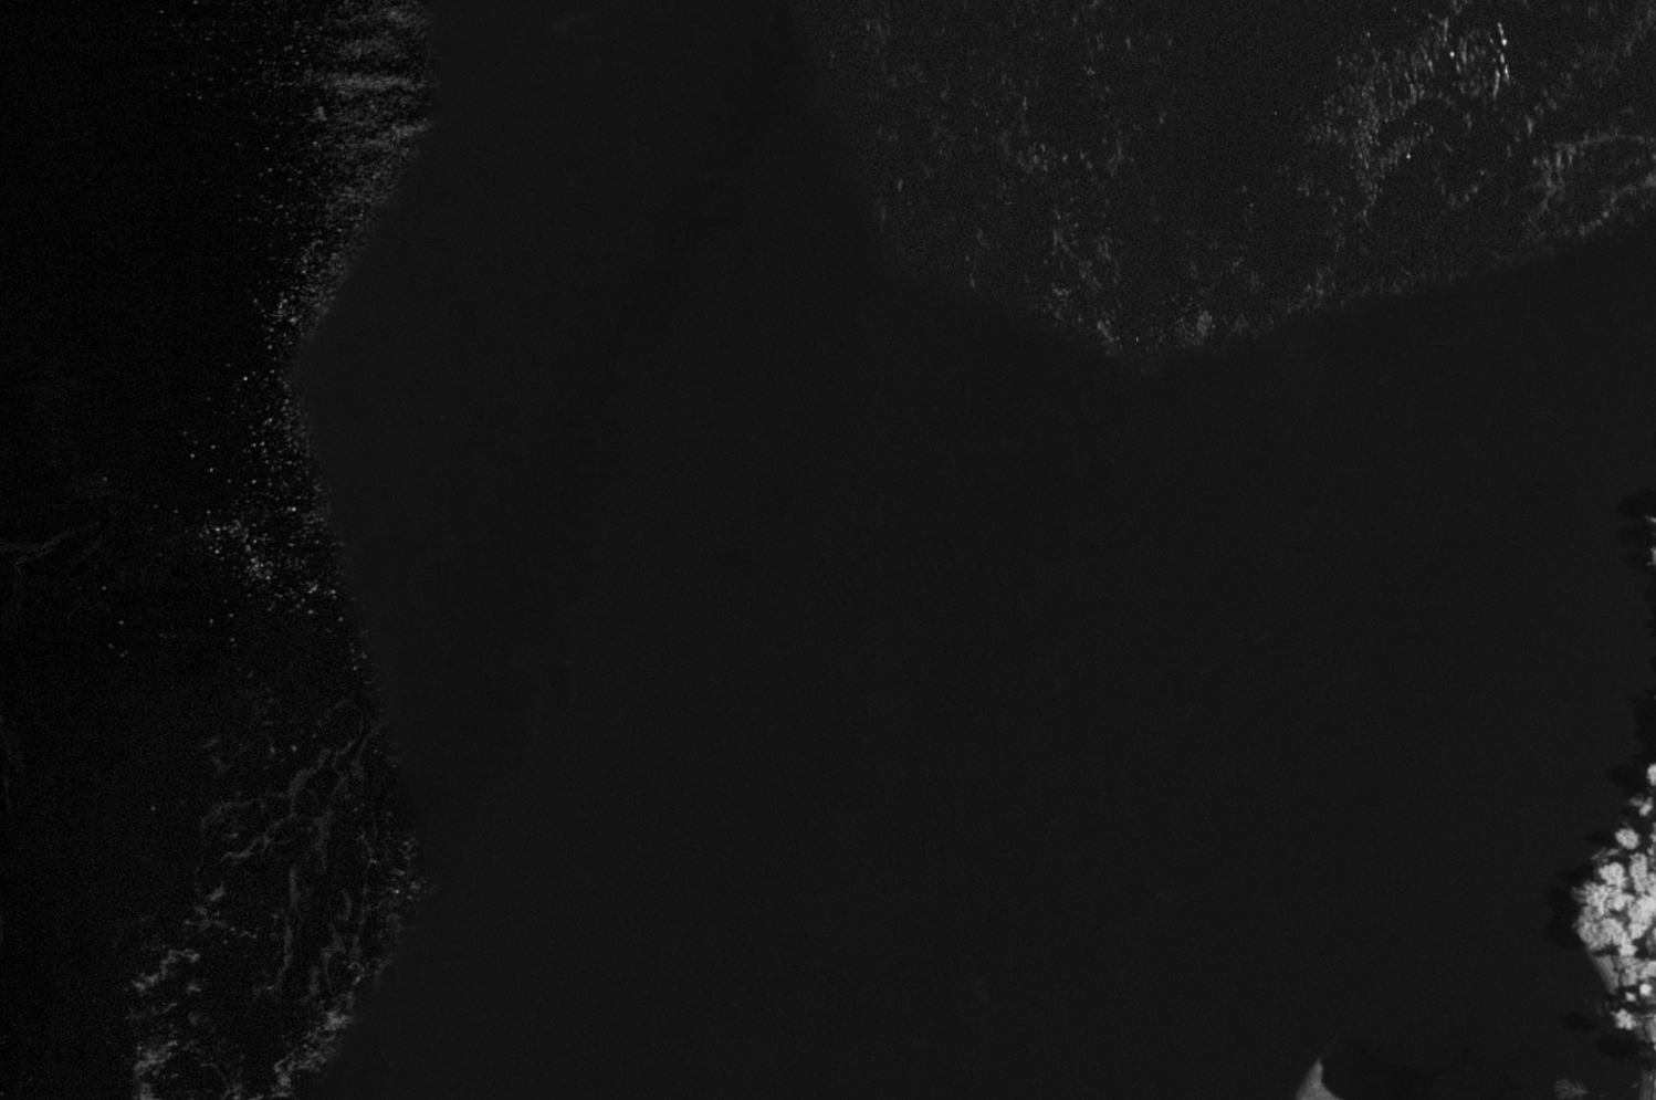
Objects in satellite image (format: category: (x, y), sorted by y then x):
river: (678, 549)

